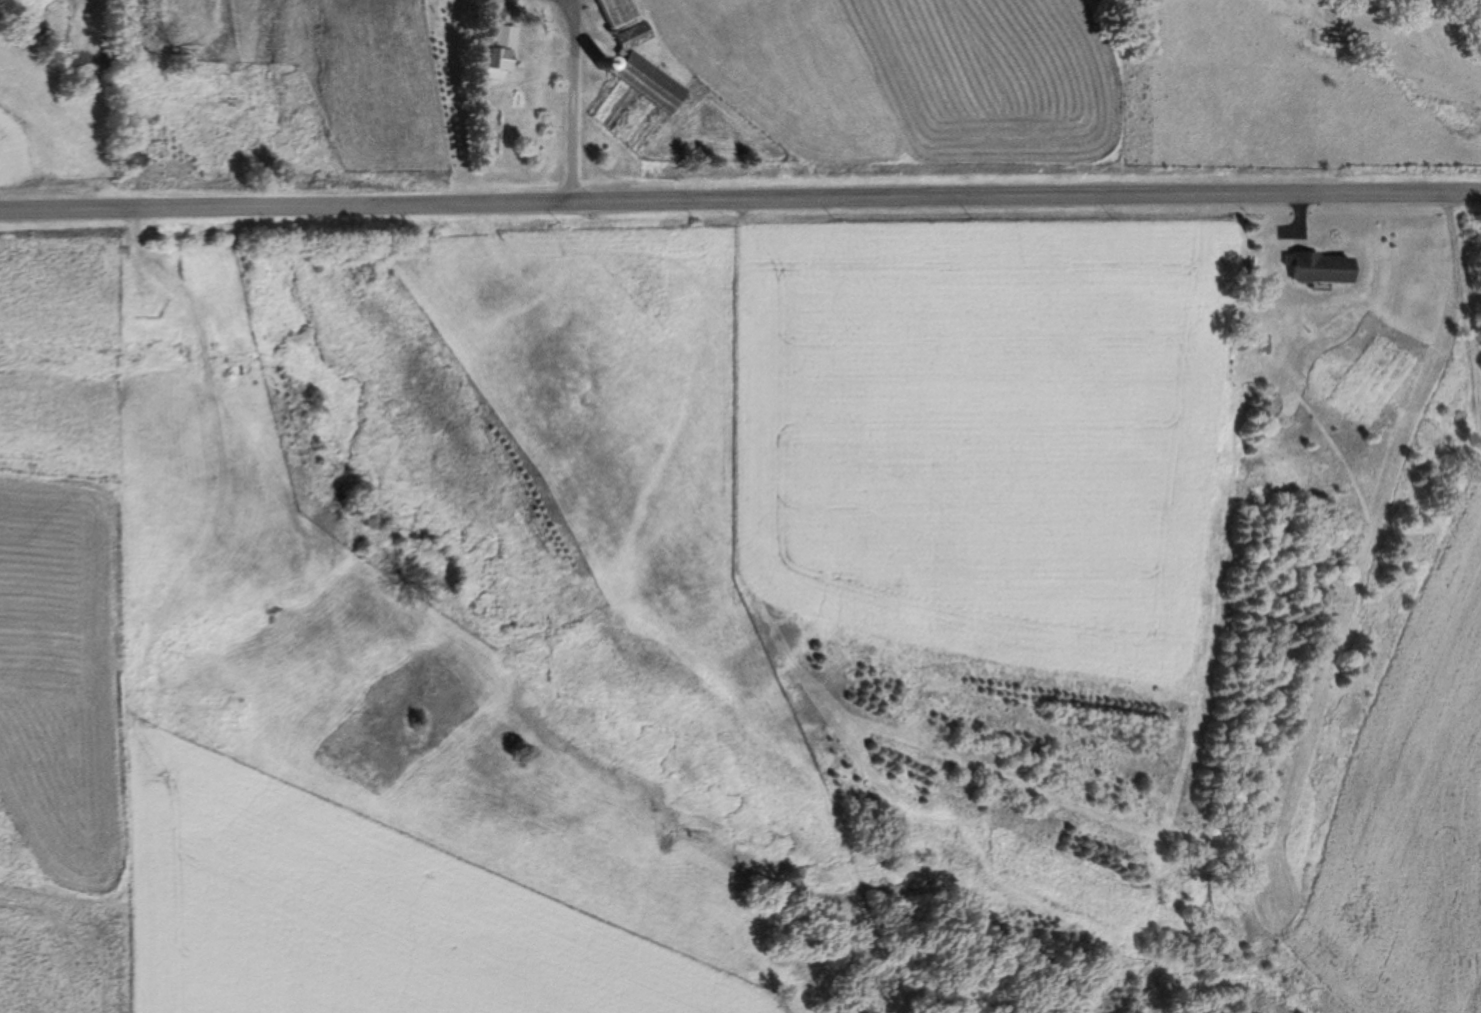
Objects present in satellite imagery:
building: (608, 12)
building: (492, 54)
building: (637, 72)
road: (568, 101)
road: (740, 201)
building: (1312, 269)

